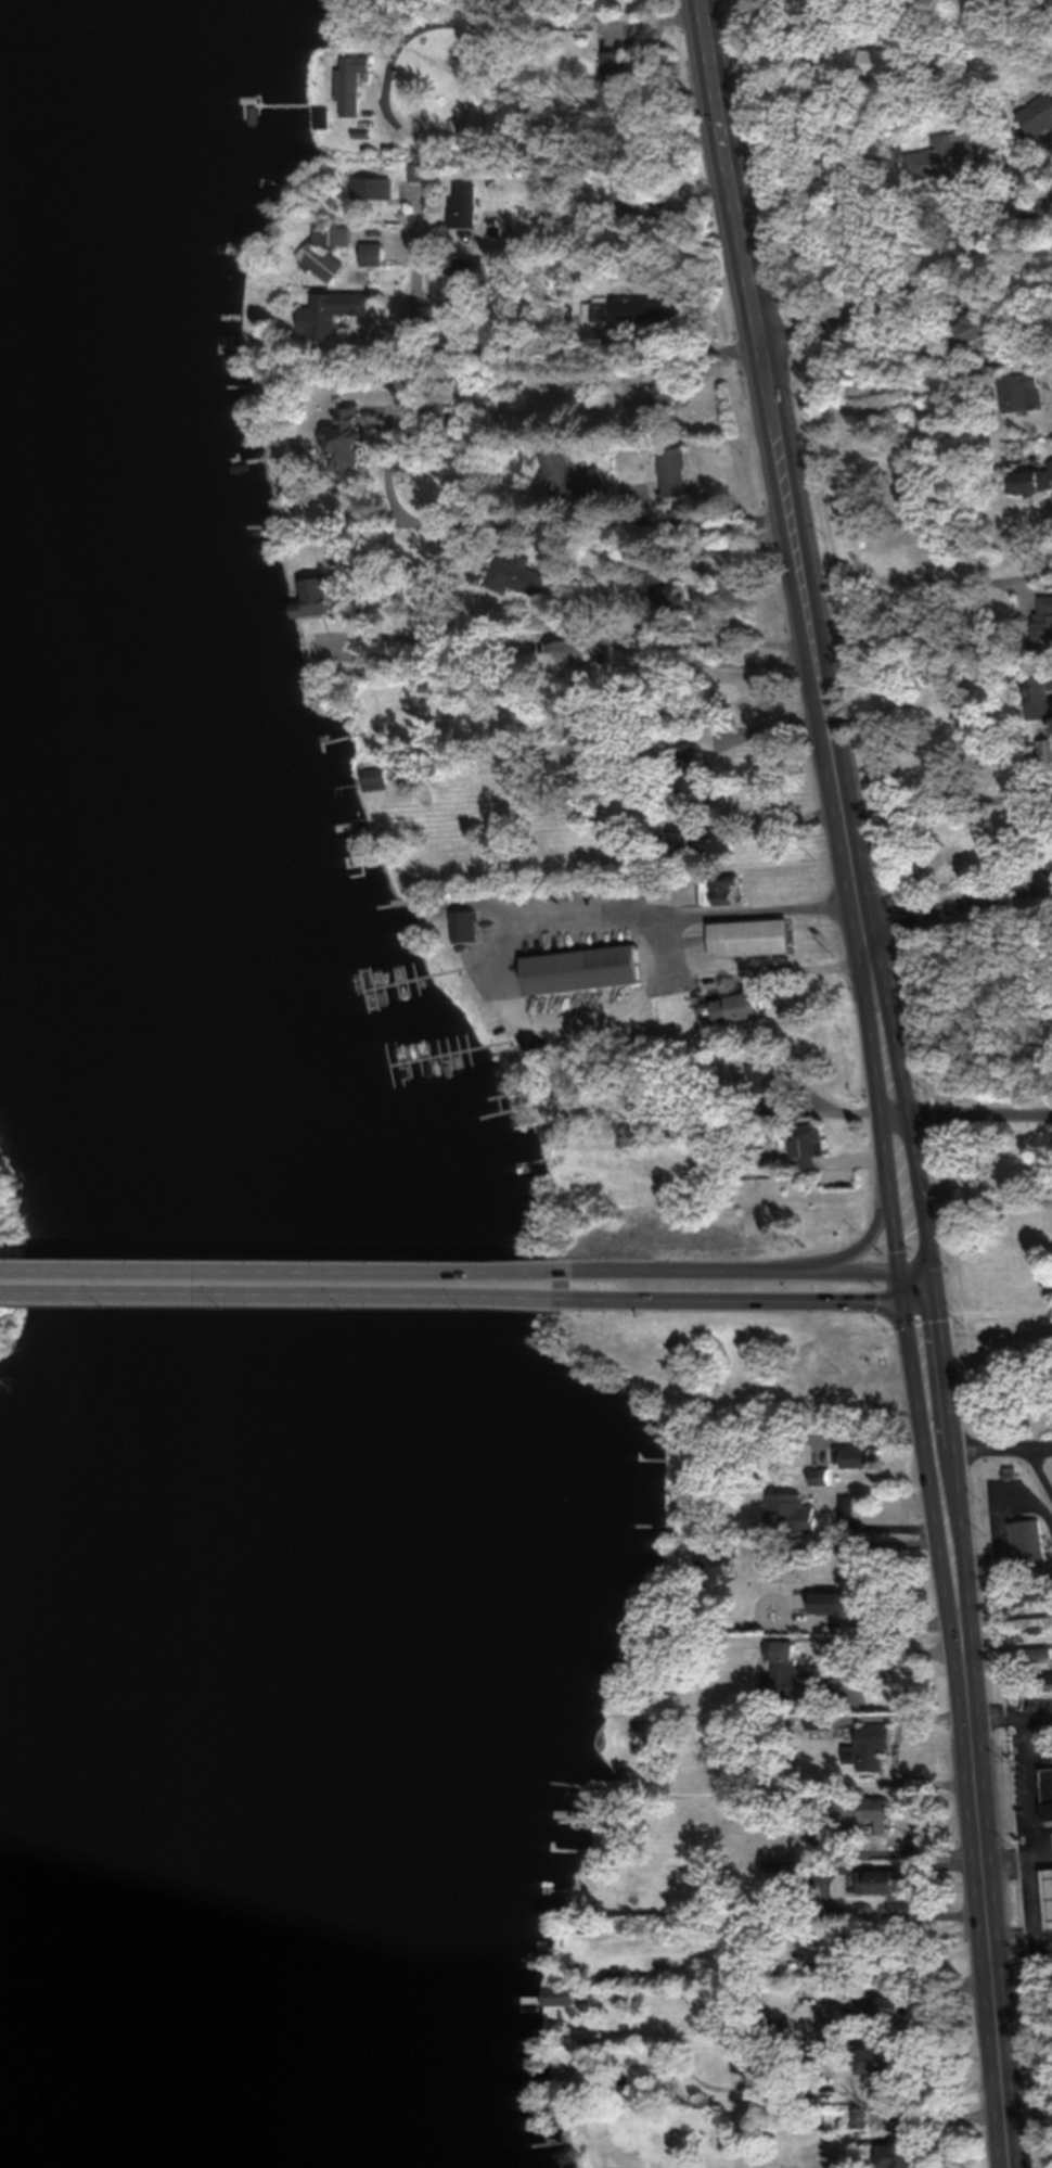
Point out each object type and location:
road: (421, 21)
building: (618, 73)
building: (355, 81)
building: (1035, 113)
building: (373, 187)
building: (464, 204)
building: (326, 251)
building: (375, 253)
building: (470, 281)
road: (912, 286)
building: (647, 308)
building: (333, 310)
road: (560, 327)
building: (971, 329)
building: (1022, 392)
building: (671, 394)
building: (352, 437)
building: (678, 471)
building: (570, 474)
building: (1029, 481)
road: (792, 509)
road: (550, 523)
building: (521, 576)
road: (932, 578)
building: (319, 596)
building: (667, 597)
building: (1043, 623)
road: (641, 653)
road: (932, 678)
building: (1038, 697)
building: (1043, 755)
building: (709, 842)
road: (959, 904)
building: (752, 927)
building: (586, 969)
building: (742, 1008)
building: (775, 1075)
river: (171, 1081)
road: (979, 1117)
road: (888, 1145)
building: (798, 1146)
road: (911, 1150)
road: (837, 1254)
road: (285, 1270)
road: (735, 1272)
traffic signals: (900, 1272)
road: (918, 1276)
road: (902, 1286)
traffic signals: (935, 1286)
road: (285, 1293)
road: (920, 1293)
road: (737, 1300)
traffic signals: (905, 1300)
road: (1001, 1439)
road: (1039, 1461)
building: (816, 1476)
road: (958, 1497)
road: (932, 1505)
building: (788, 1513)
building: (1025, 1543)
building: (711, 1567)
building: (1022, 1594)
building: (826, 1602)
building: (1025, 1622)
building: (784, 1673)
building: (1031, 1678)
road: (1039, 1706)
road: (1029, 1738)
building: (865, 1746)
building: (1045, 1793)
building: (869, 1814)
building: (781, 1869)
road: (1028, 1874)
building: (870, 1880)
building: (1048, 1884)
road: (990, 1938)
road: (1021, 1939)
road: (909, 1987)
building: (886, 2006)
building: (773, 2030)
building: (836, 2038)
building: (886, 2059)
building: (858, 2117)
building: (890, 2155)

